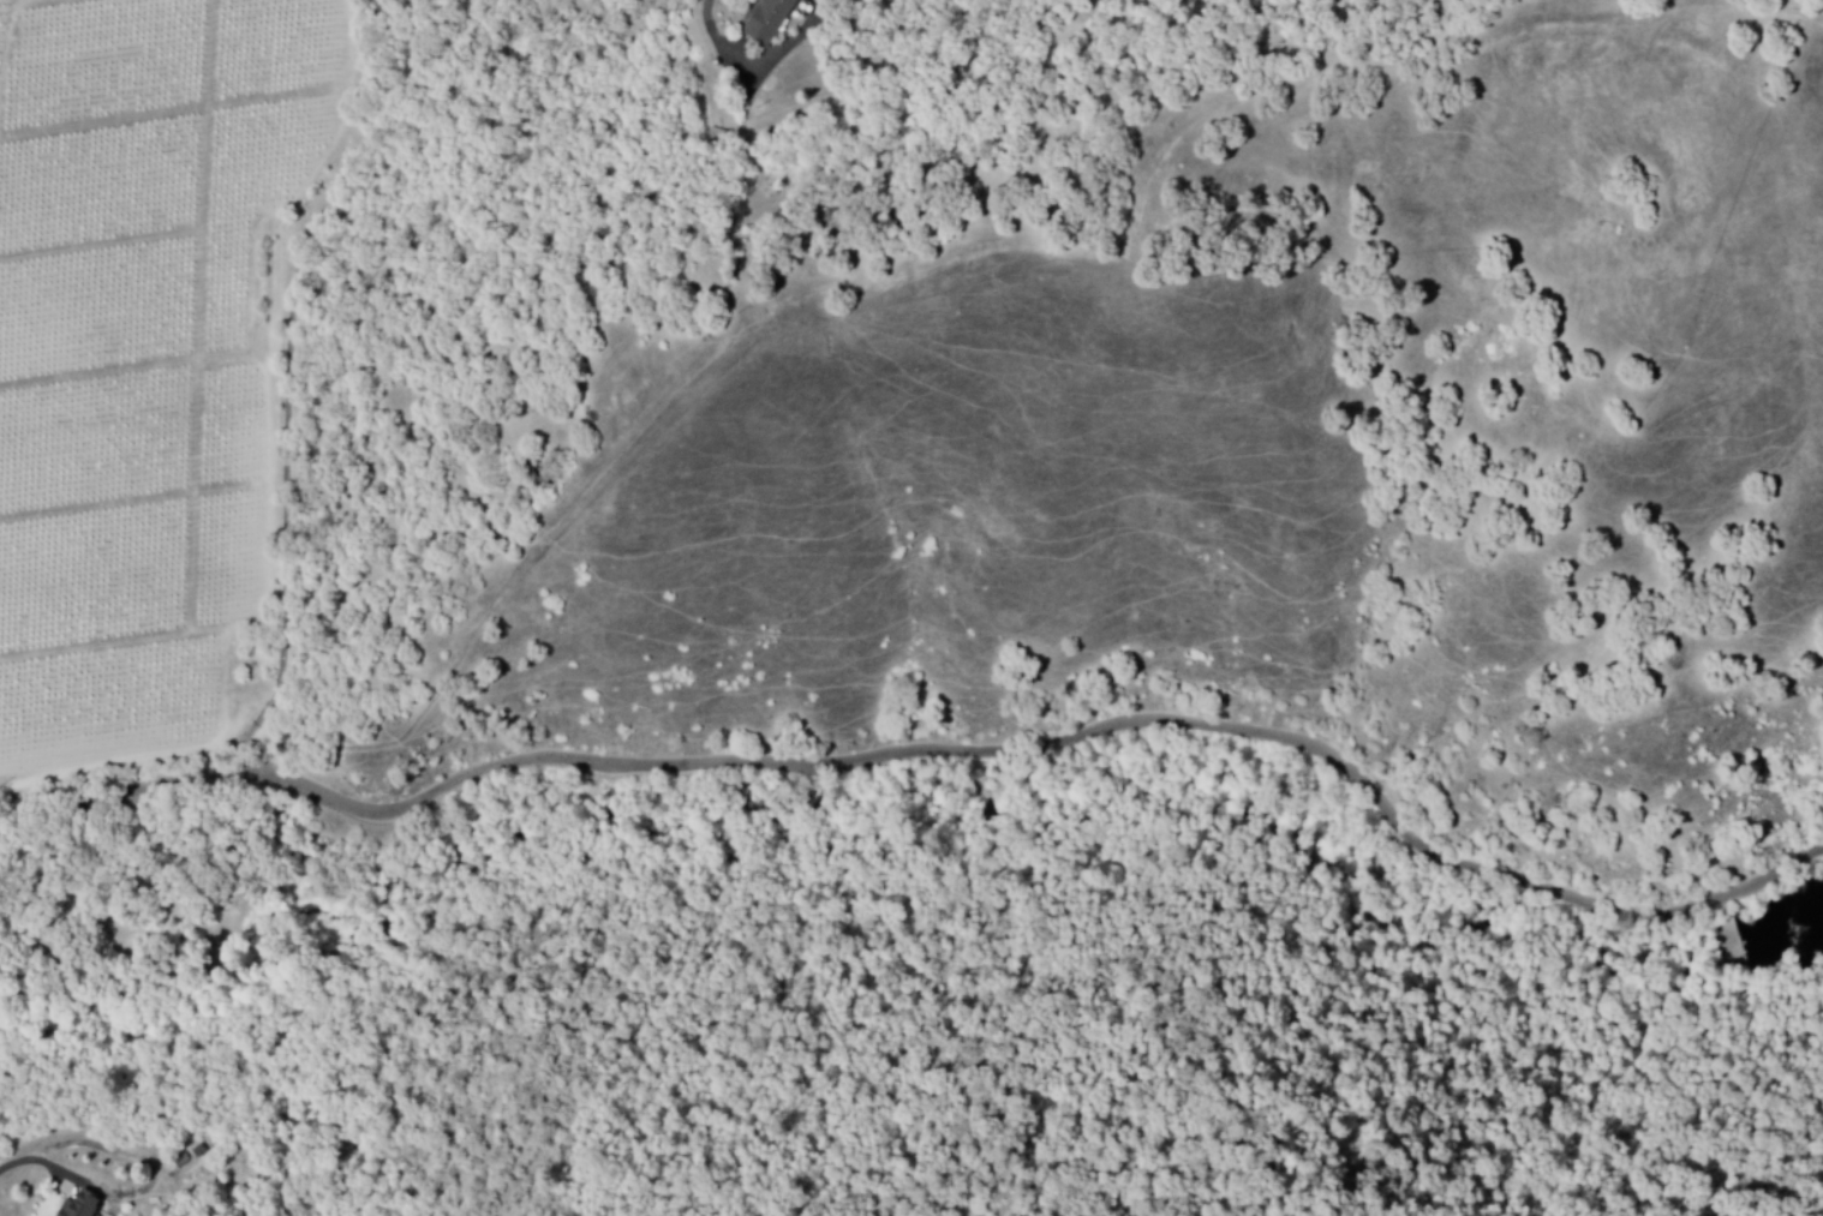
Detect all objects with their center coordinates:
building: (771, 22)
road: (936, 751)
dam: (1731, 936)
park: (1735, 1029)
road: (17, 1162)
building: (83, 1206)

